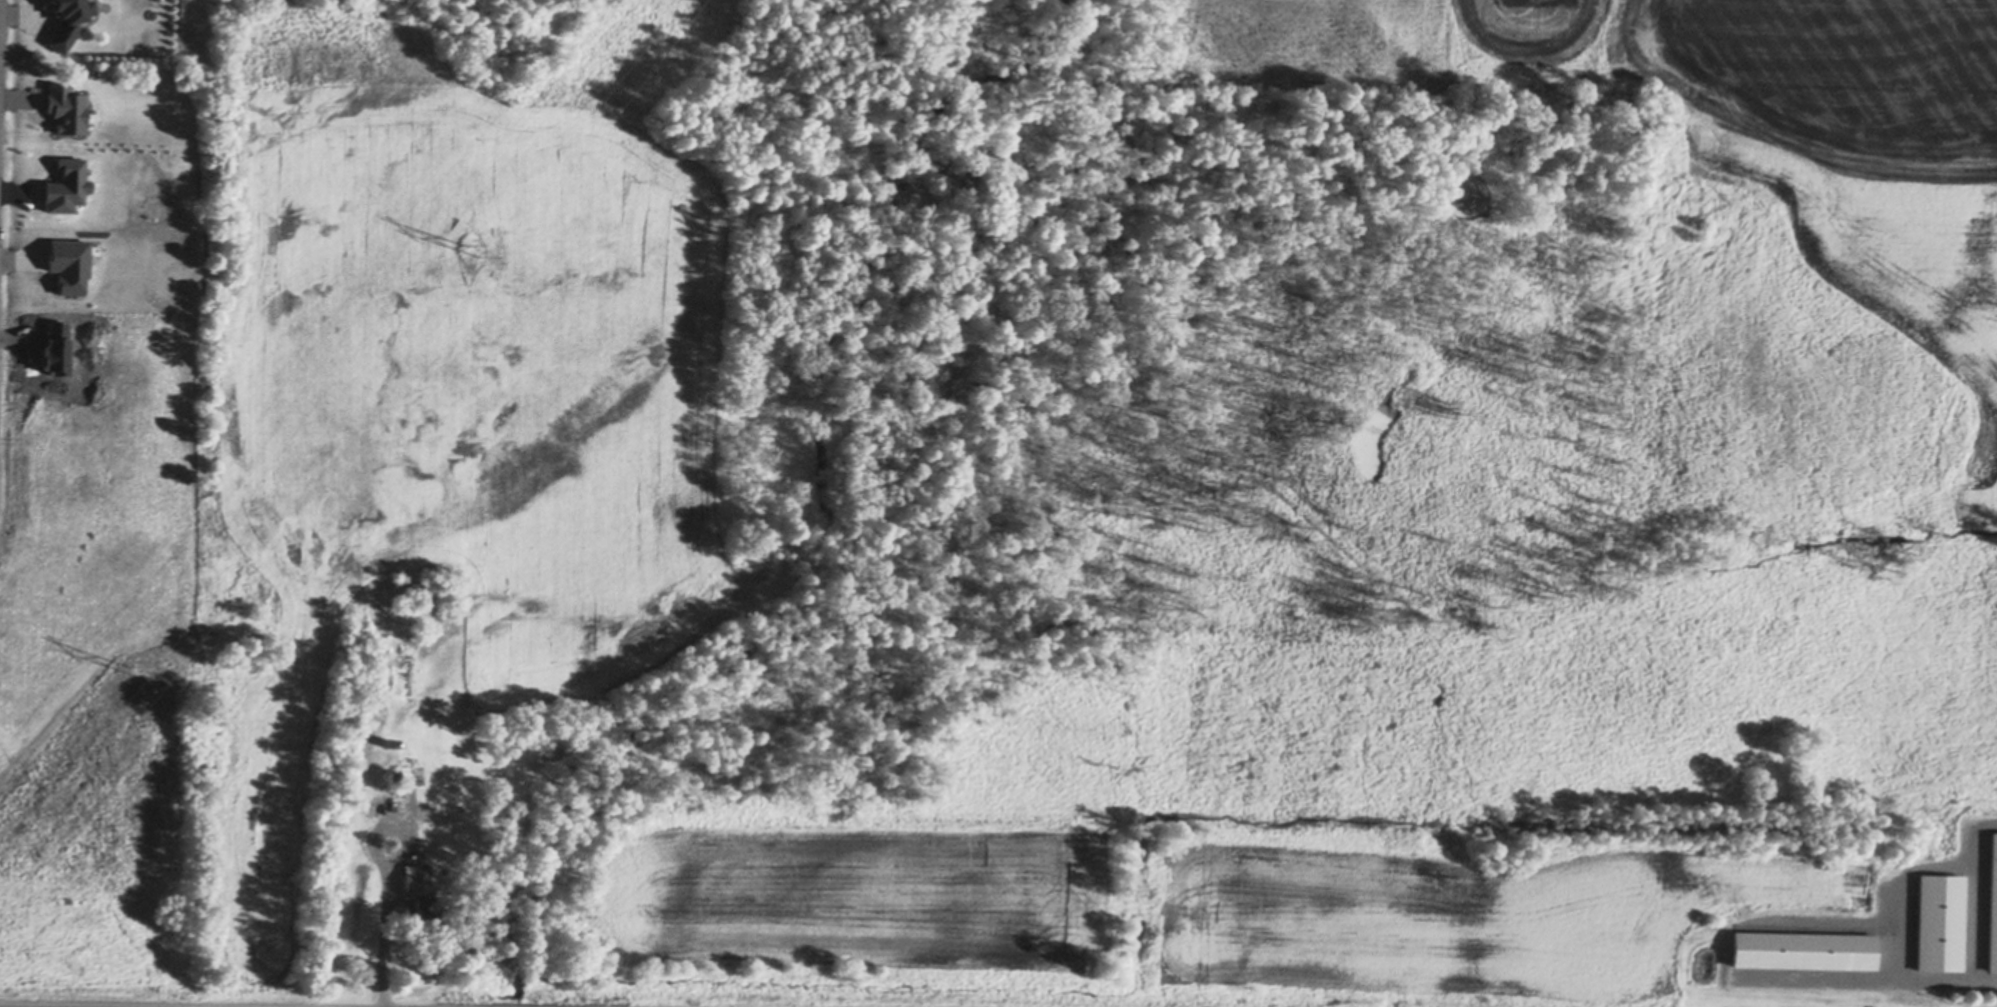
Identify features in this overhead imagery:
building: (68, 21)
crop: (1857, 152)
power tower: (467, 252)
river: (836, 586)
power tower: (136, 667)
building: (388, 743)
building: (392, 778)
building: (404, 785)
crop: (903, 860)
building: (412, 882)
building: (1992, 906)
building: (420, 917)
building: (1940, 923)
road: (380, 950)
building: (1804, 950)
river: (506, 1003)

